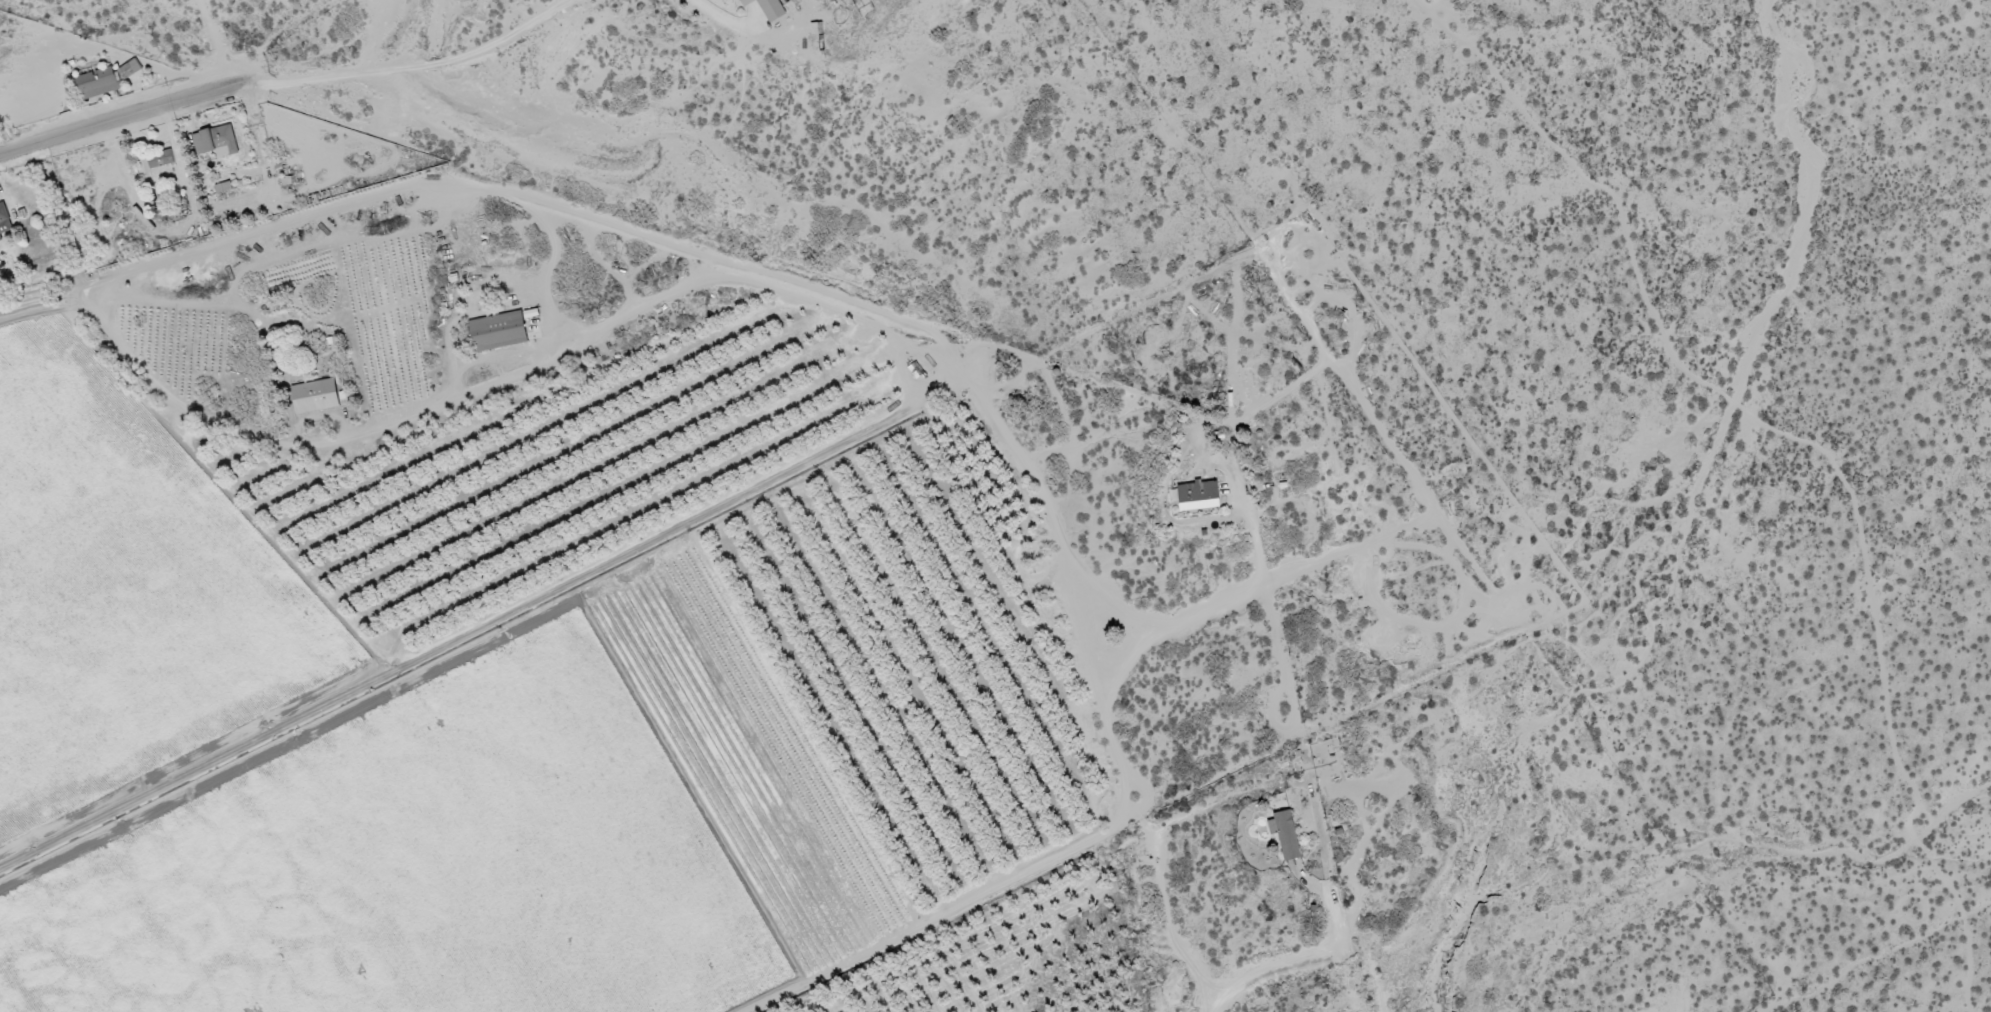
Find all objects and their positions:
building: (763, 6)
building: (128, 70)
building: (97, 83)
road: (132, 116)
building: (216, 142)
building: (160, 159)
building: (4, 221)
road: (220, 241)
building: (499, 332)
building: (309, 394)
road: (422, 414)
building: (1200, 493)
road: (1150, 579)
building: (1286, 834)
road: (1839, 933)
road: (1273, 968)

